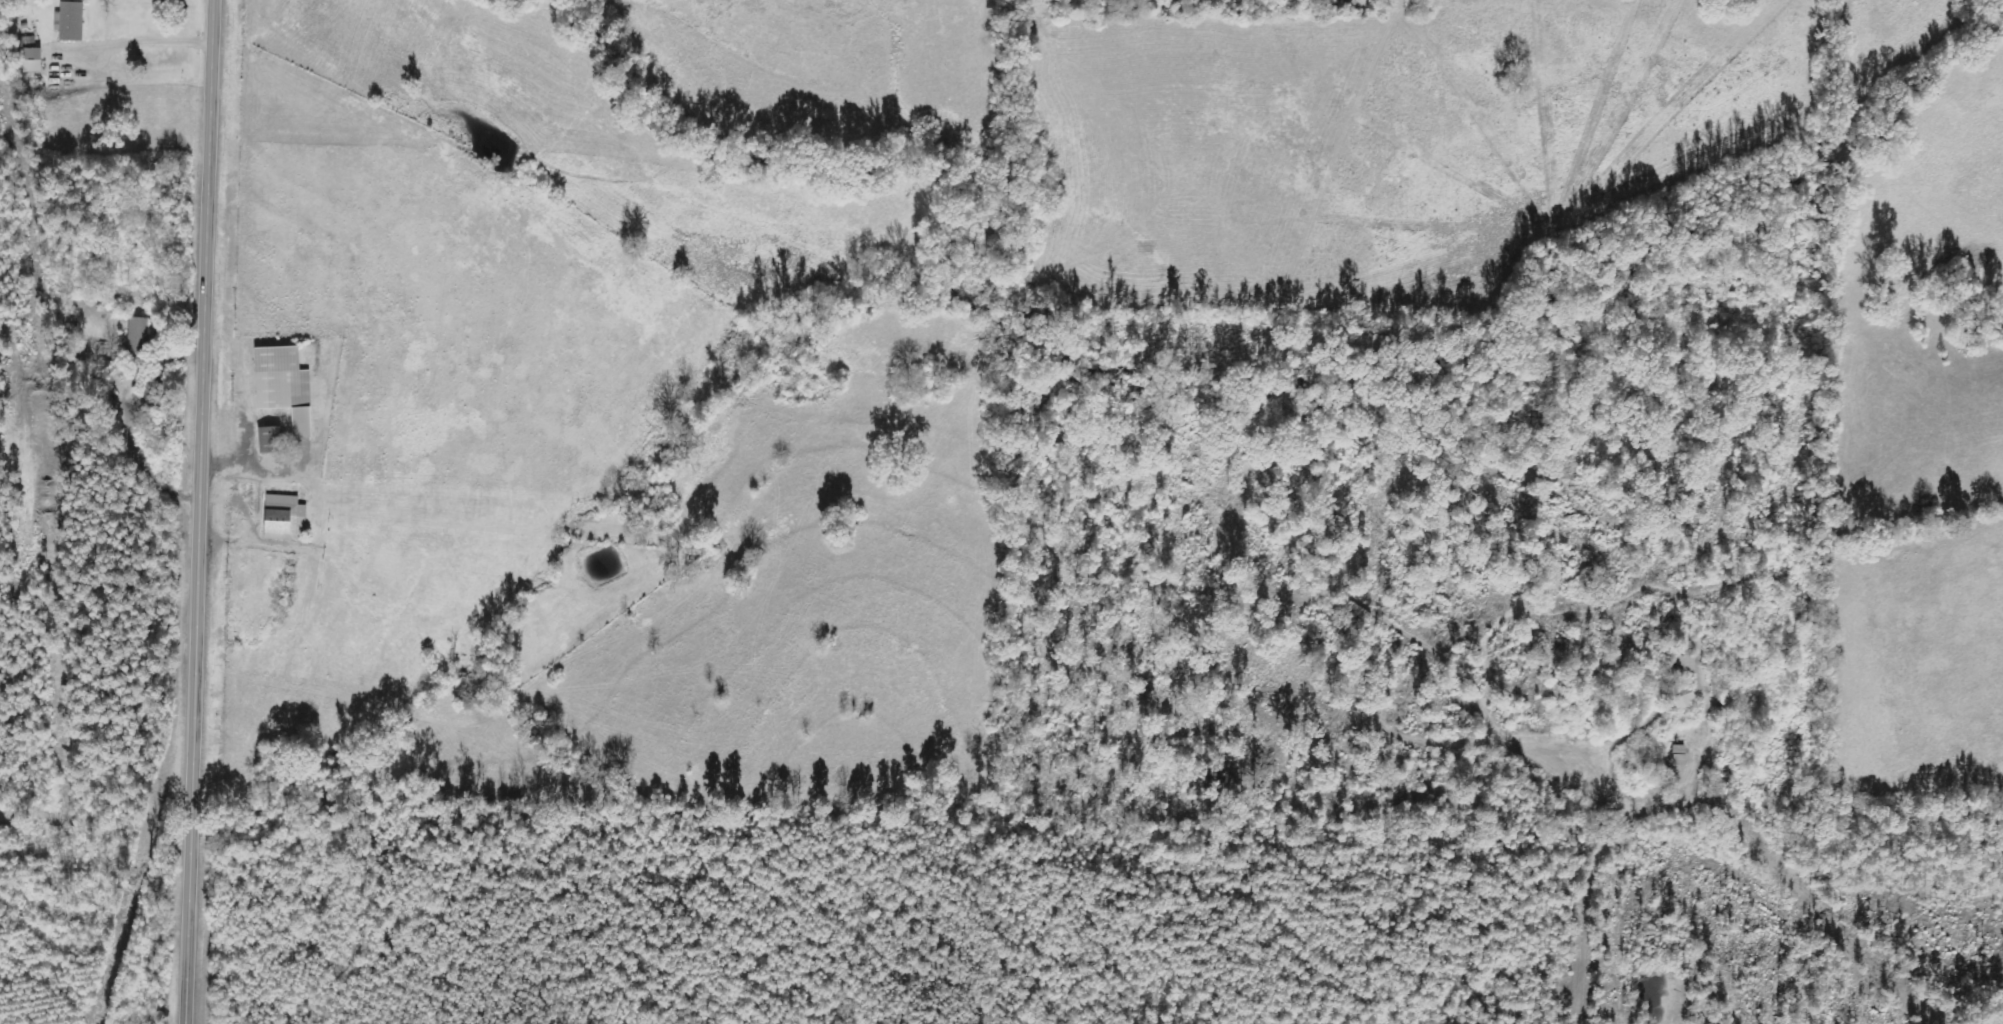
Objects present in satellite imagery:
building: (71, 21)
building: (33, 60)
building: (138, 335)
building: (287, 386)
building: (272, 439)
road: (99, 453)
road: (197, 511)
building: (286, 515)
building: (1683, 663)
building: (1682, 701)
building: (1678, 755)
road: (1595, 891)

